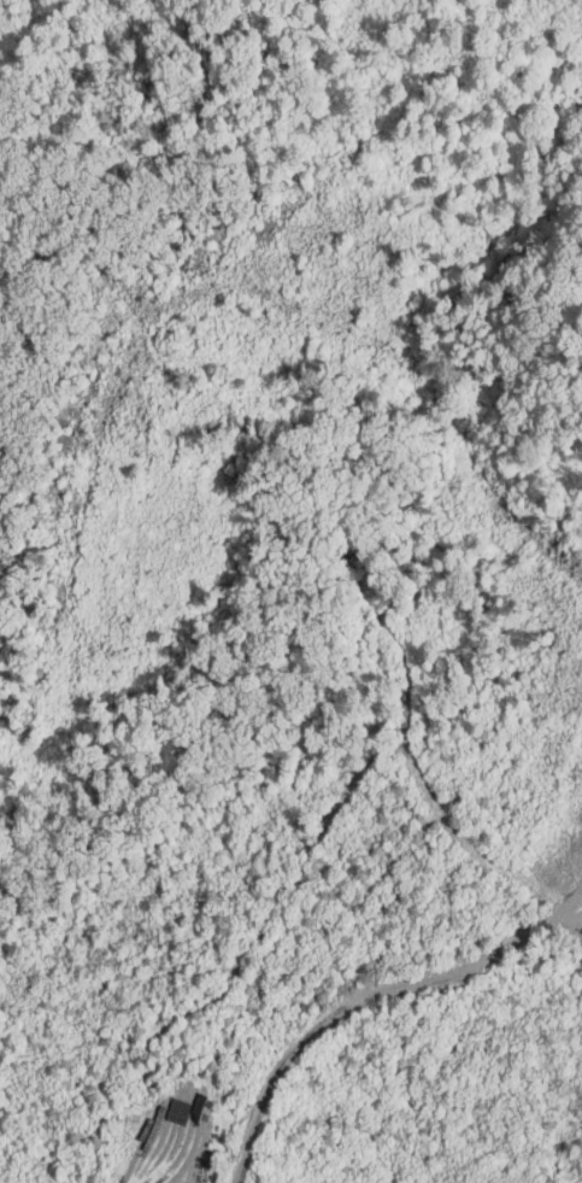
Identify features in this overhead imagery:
building: (163, 1103)

